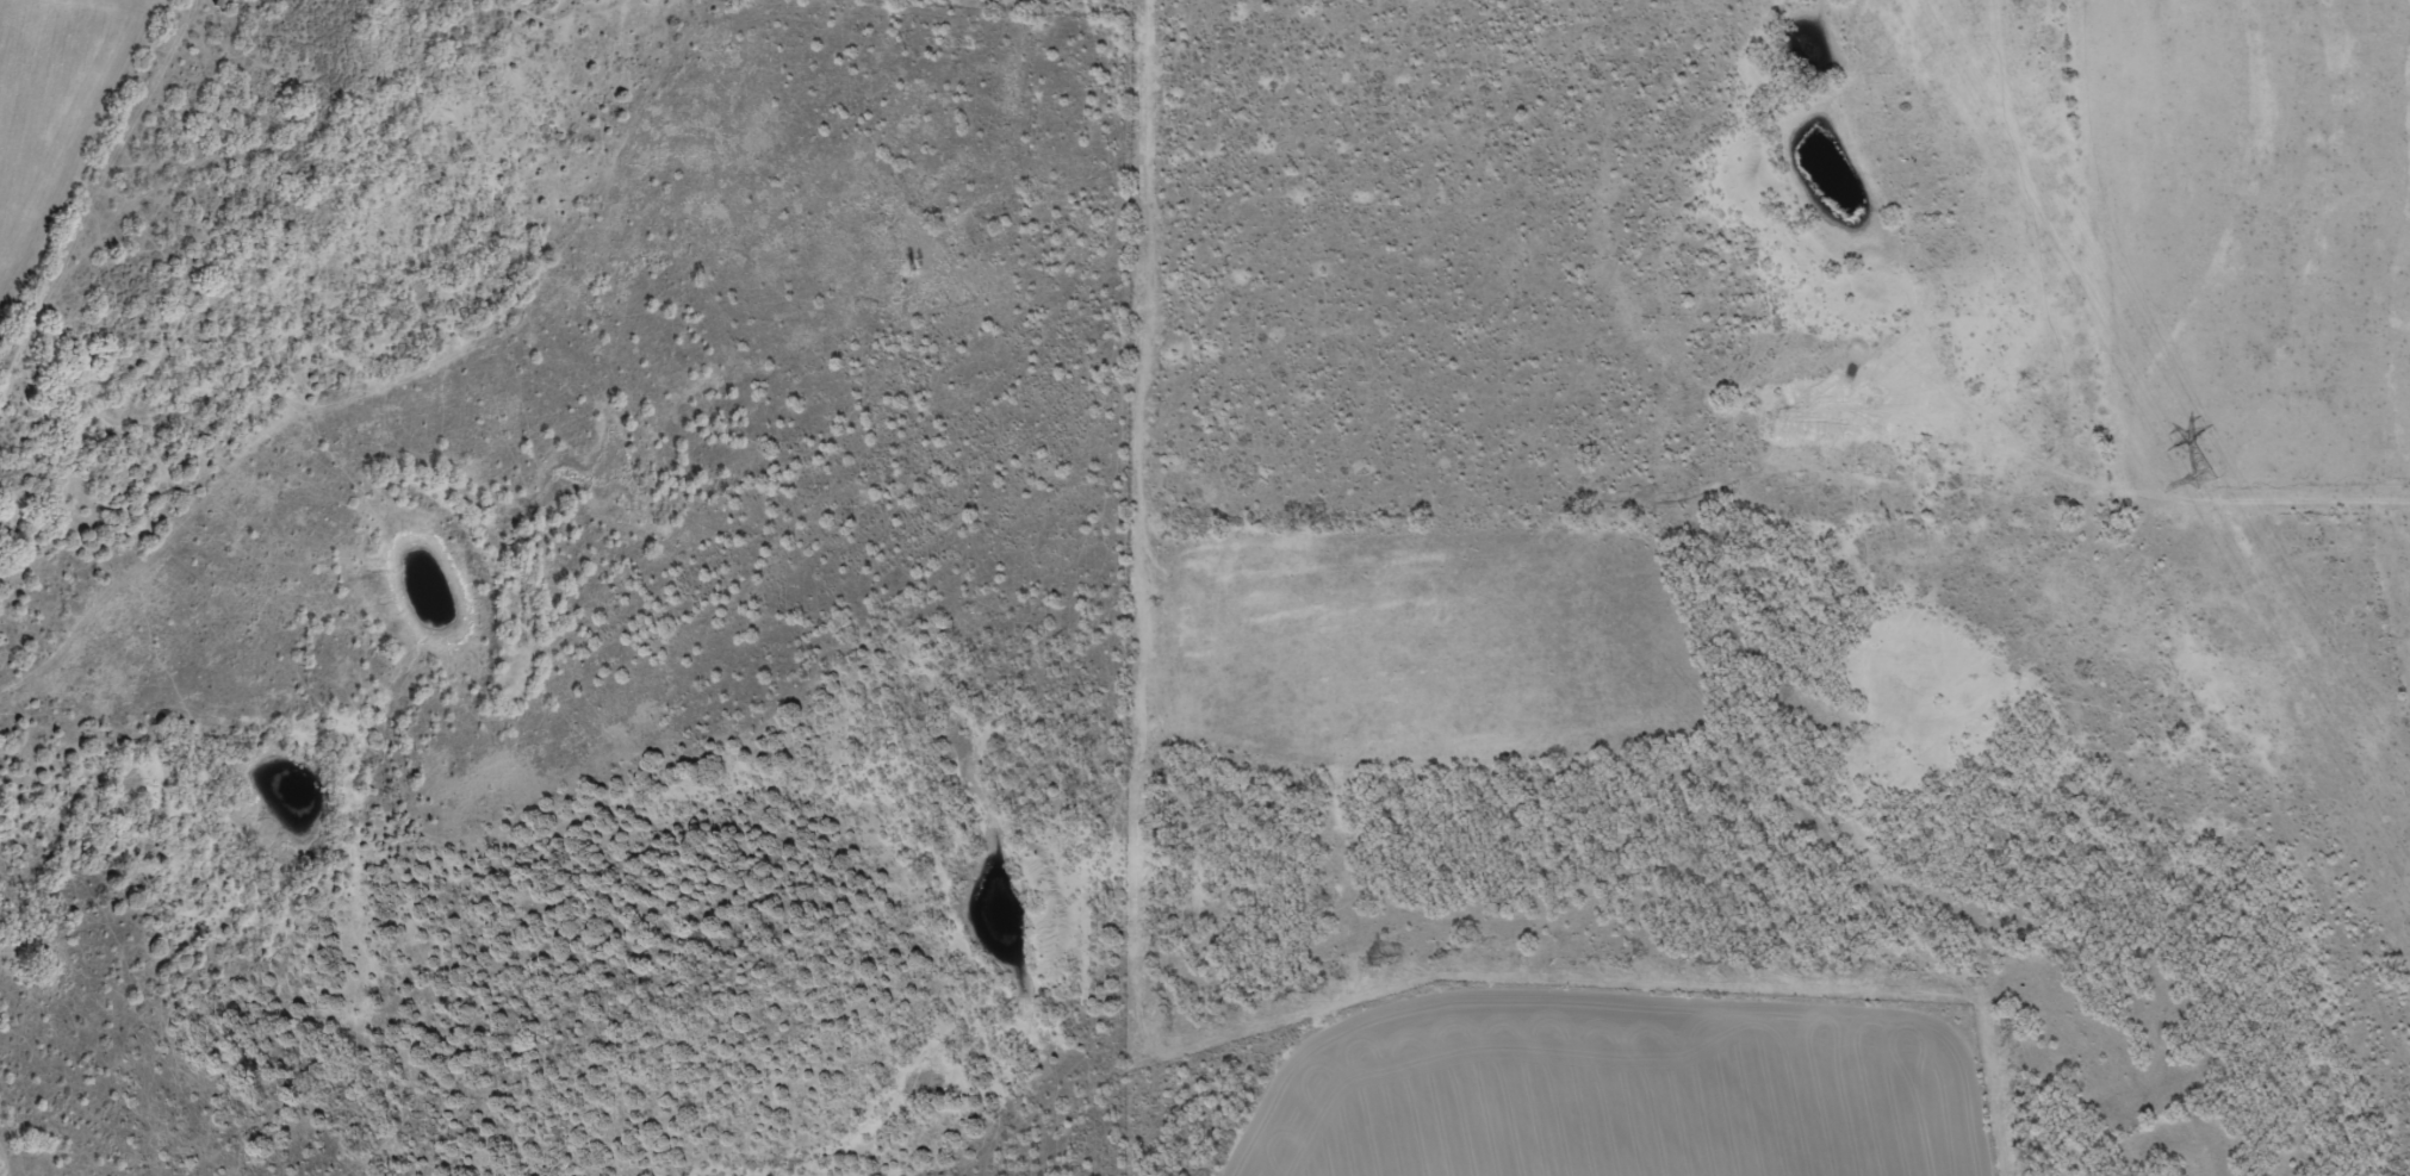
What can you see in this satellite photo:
power tower: (2207, 481)

